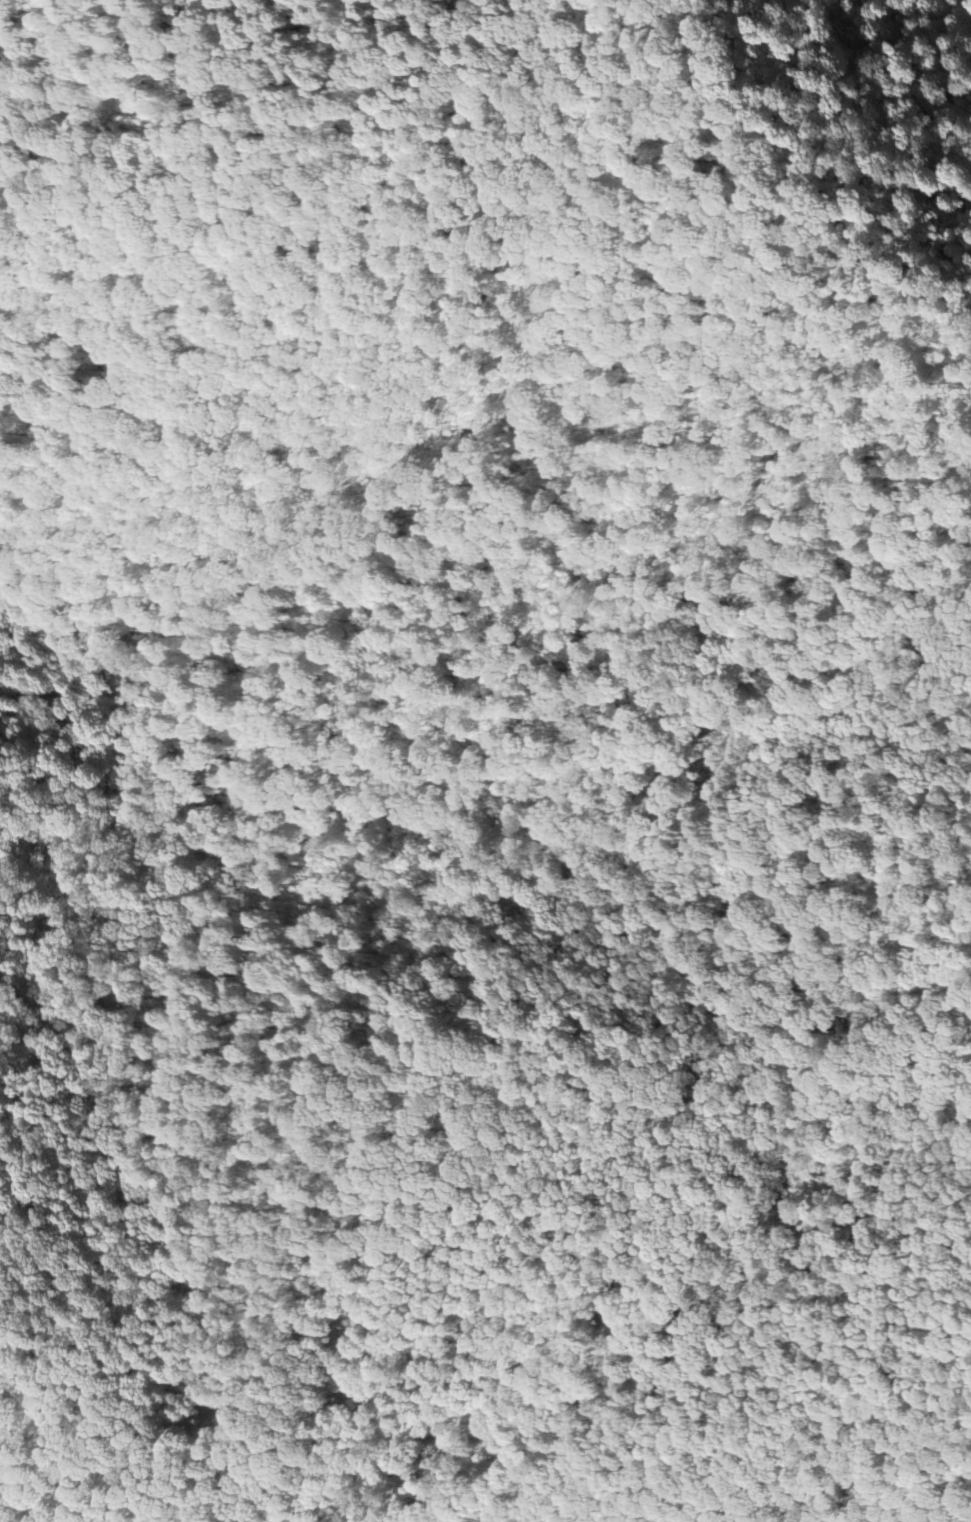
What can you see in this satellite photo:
road: (495, 1126)

